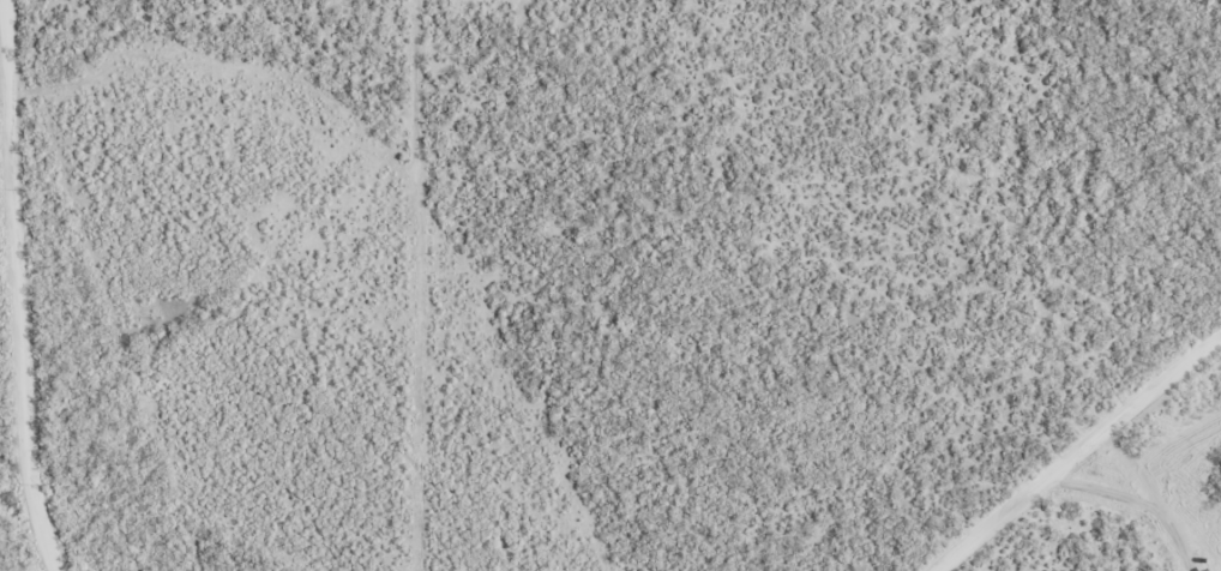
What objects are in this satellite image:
road: (20, 285)
road: (1075, 452)

